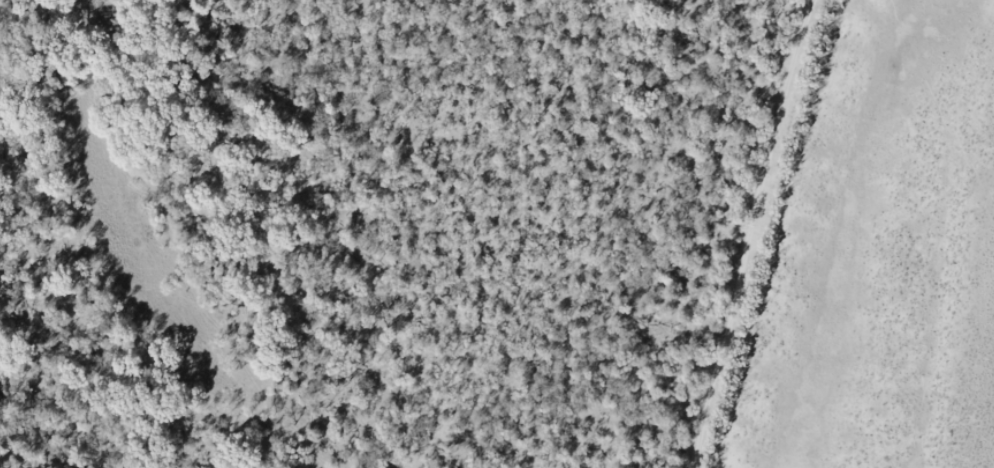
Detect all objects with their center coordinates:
road: (752, 233)

